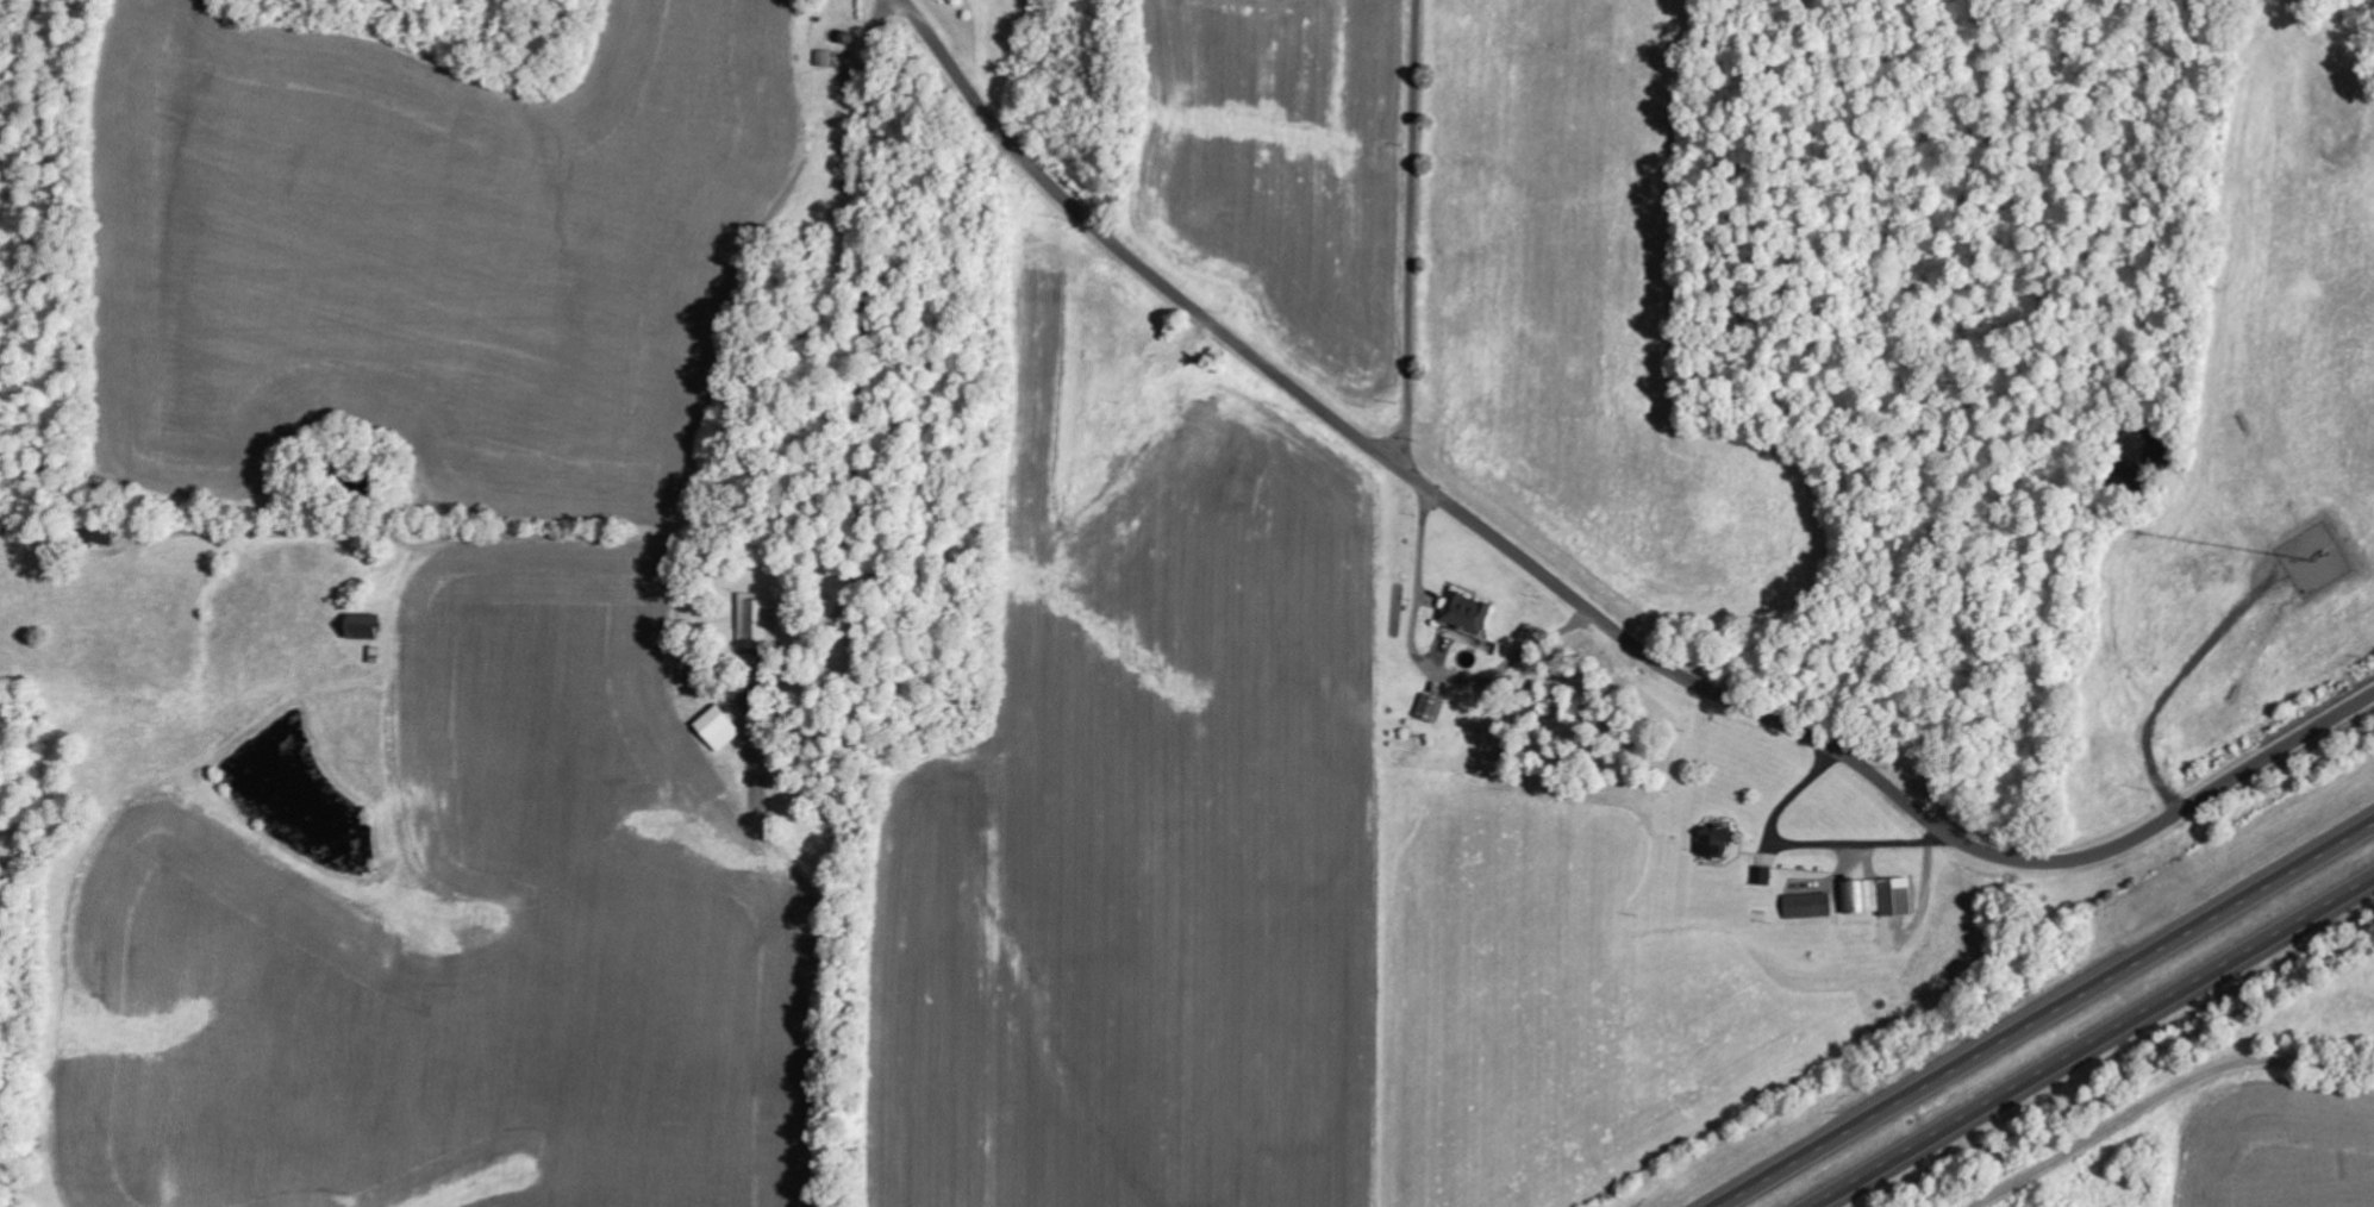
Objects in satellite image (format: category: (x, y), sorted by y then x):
building: (824, 57)
road: (1413, 236)
road: (867, 284)
building: (96, 536)
road: (1579, 602)
building: (1466, 612)
building: (757, 621)
building: (362, 625)
building: (718, 728)
building: (1716, 839)
building: (1878, 895)
building: (1807, 905)
road: (2041, 1012)
road: (2095, 1044)
road: (2155, 1092)

